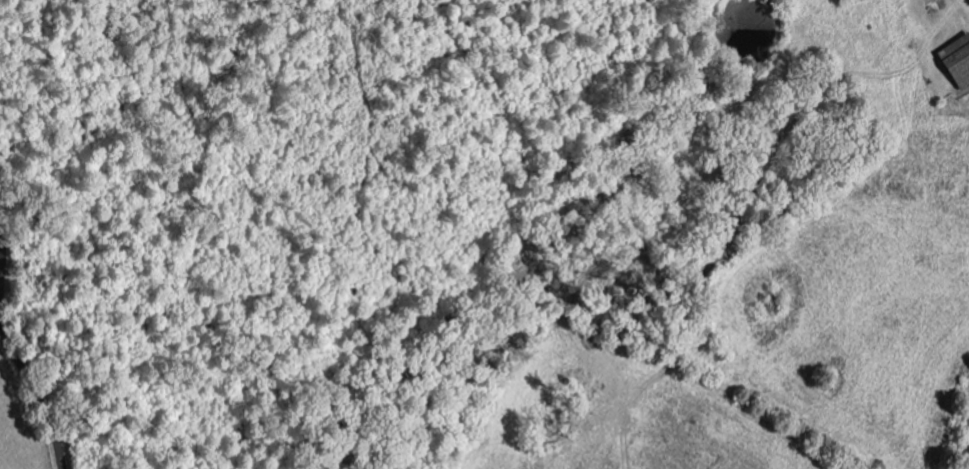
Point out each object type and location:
building: (960, 60)
road: (16, 344)

